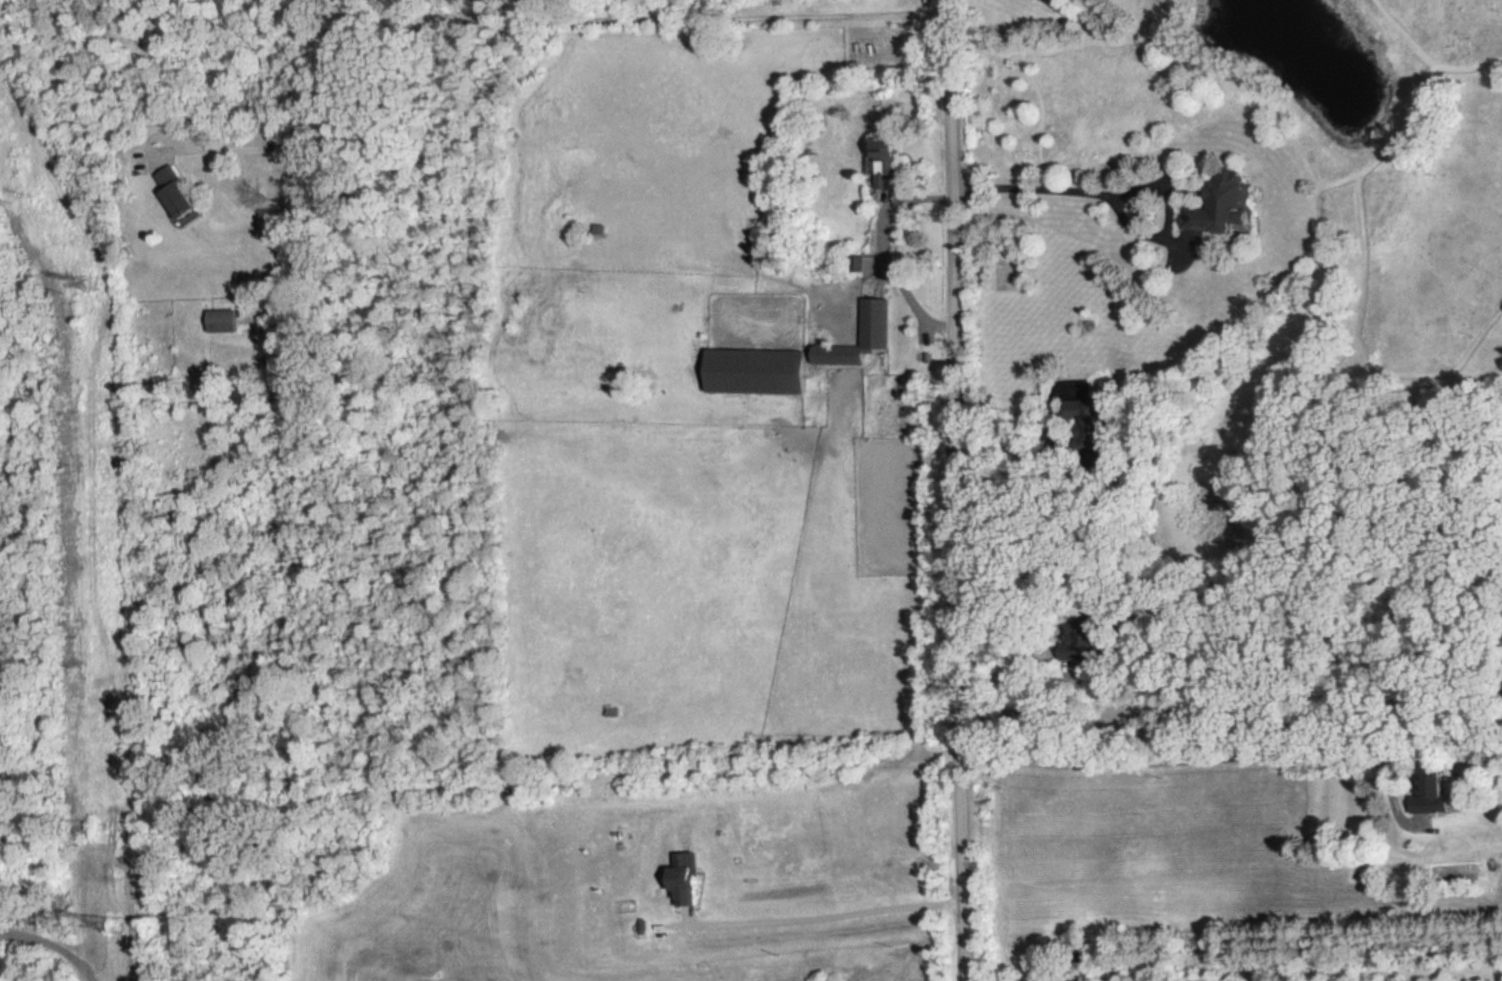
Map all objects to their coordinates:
road: (515, 20)
building: (883, 163)
building: (179, 192)
road: (885, 202)
road: (1113, 203)
building: (1223, 203)
building: (600, 229)
road: (880, 253)
building: (863, 264)
power tower: (96, 286)
building: (224, 321)
building: (876, 322)
road: (922, 329)
building: (925, 357)
building: (756, 372)
road: (1043, 470)
road: (954, 490)
park: (893, 506)
road: (1025, 705)
building: (611, 711)
building: (616, 713)
road: (1199, 762)
building: (1431, 791)
building: (683, 878)
road: (685, 915)
road: (806, 918)
building: (640, 925)
power tower: (118, 928)
road: (50, 945)

